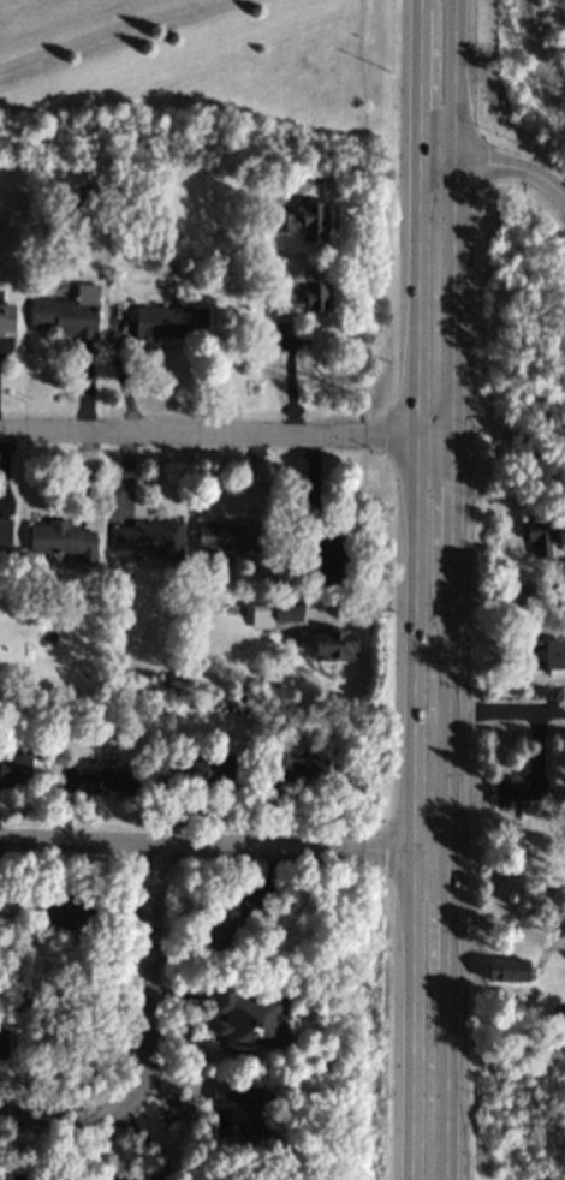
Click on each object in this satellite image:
road: (436, 85)
road: (504, 172)
building: (305, 222)
building: (308, 294)
building: (69, 314)
building: (6, 318)
building: (169, 322)
road: (289, 373)
road: (216, 435)
road: (316, 505)
road: (433, 511)
building: (5, 535)
building: (541, 535)
building: (150, 538)
building: (226, 538)
building: (63, 540)
building: (327, 555)
building: (274, 613)
building: (334, 645)
building: (547, 656)
road: (498, 710)
building: (196, 769)
building: (14, 770)
building: (303, 771)
building: (106, 781)
building: (517, 791)
road: (214, 847)
building: (64, 912)
building: (215, 919)
building: (506, 970)
road: (428, 1015)
building: (249, 1019)
road: (144, 1043)
building: (2, 1045)
building: (246, 1112)
building: (19, 1175)
building: (138, 1179)

